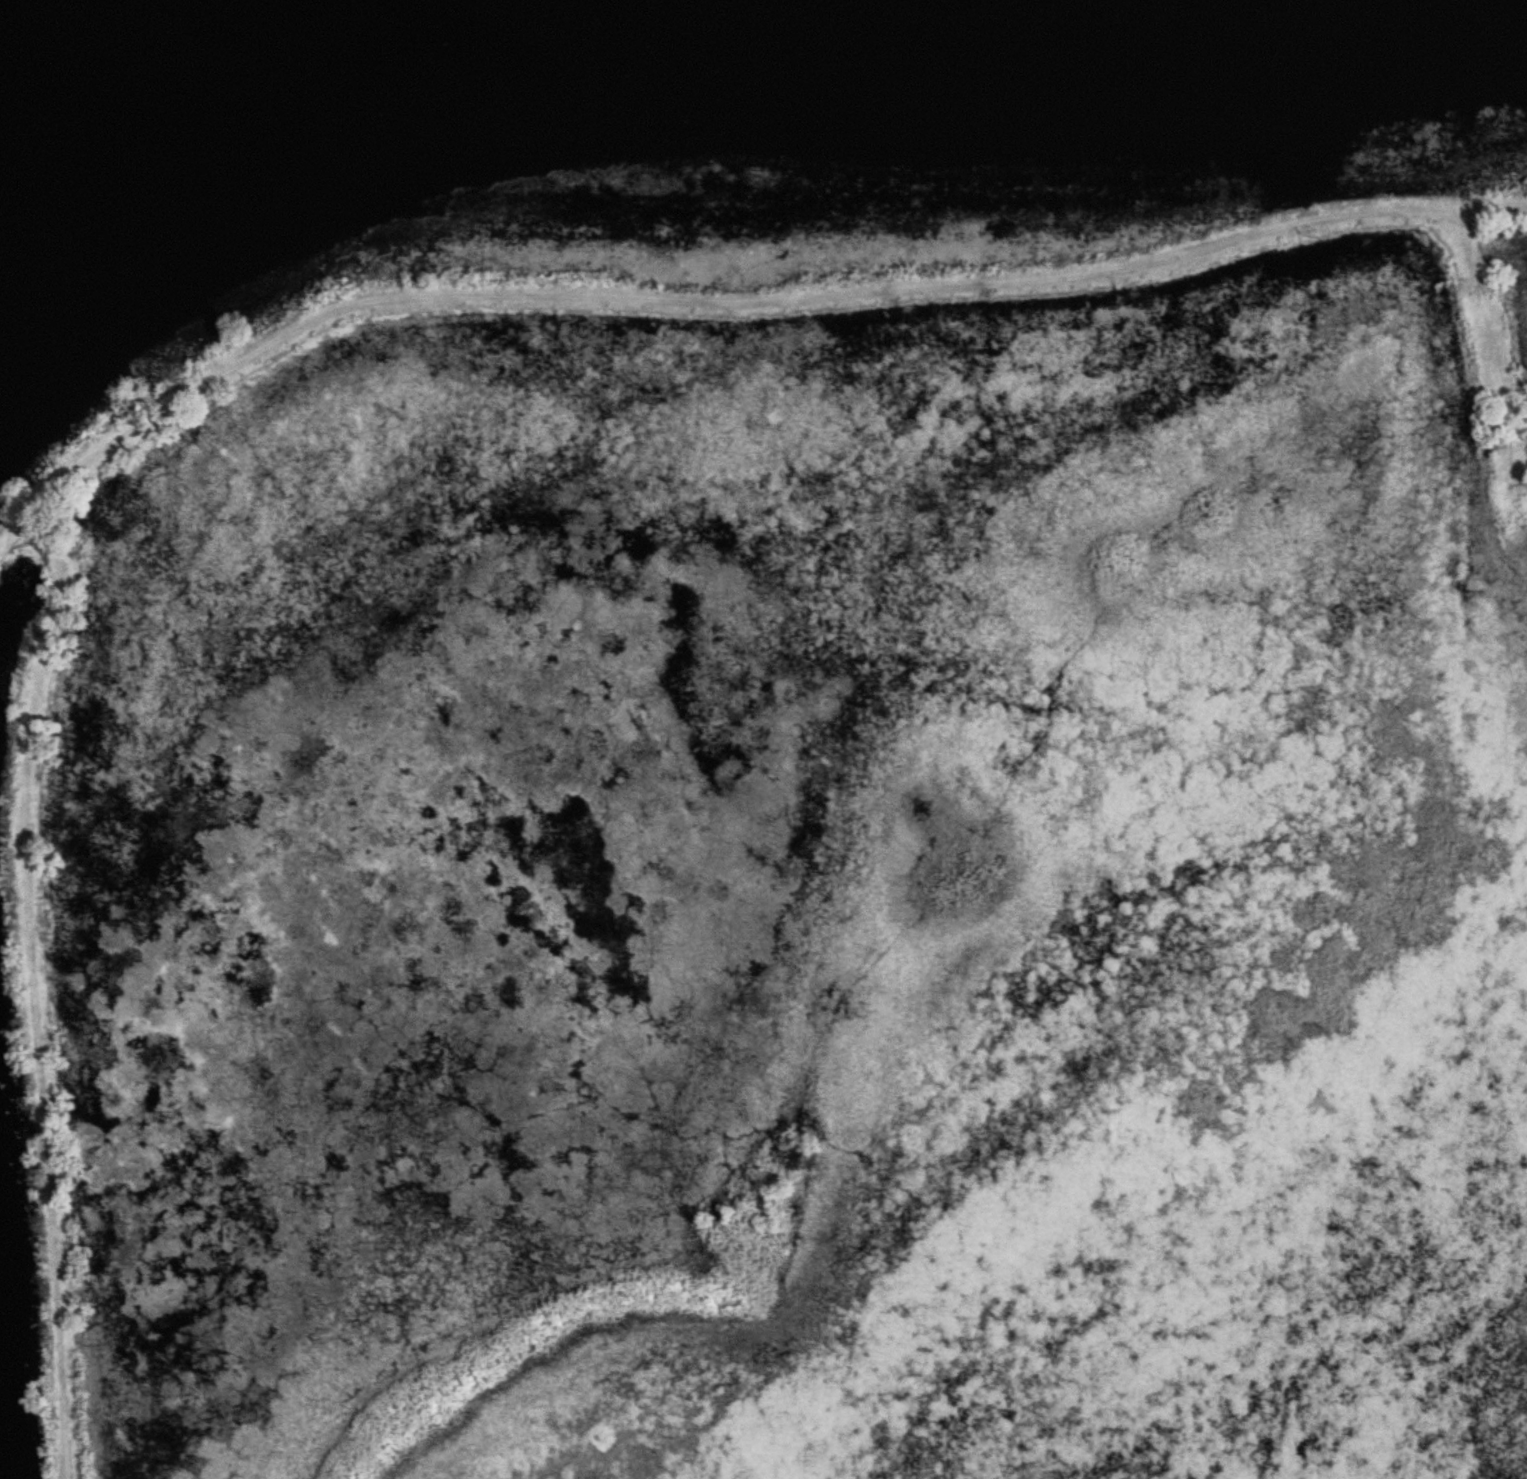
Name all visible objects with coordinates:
river: (122, 48)
road: (41, 950)

